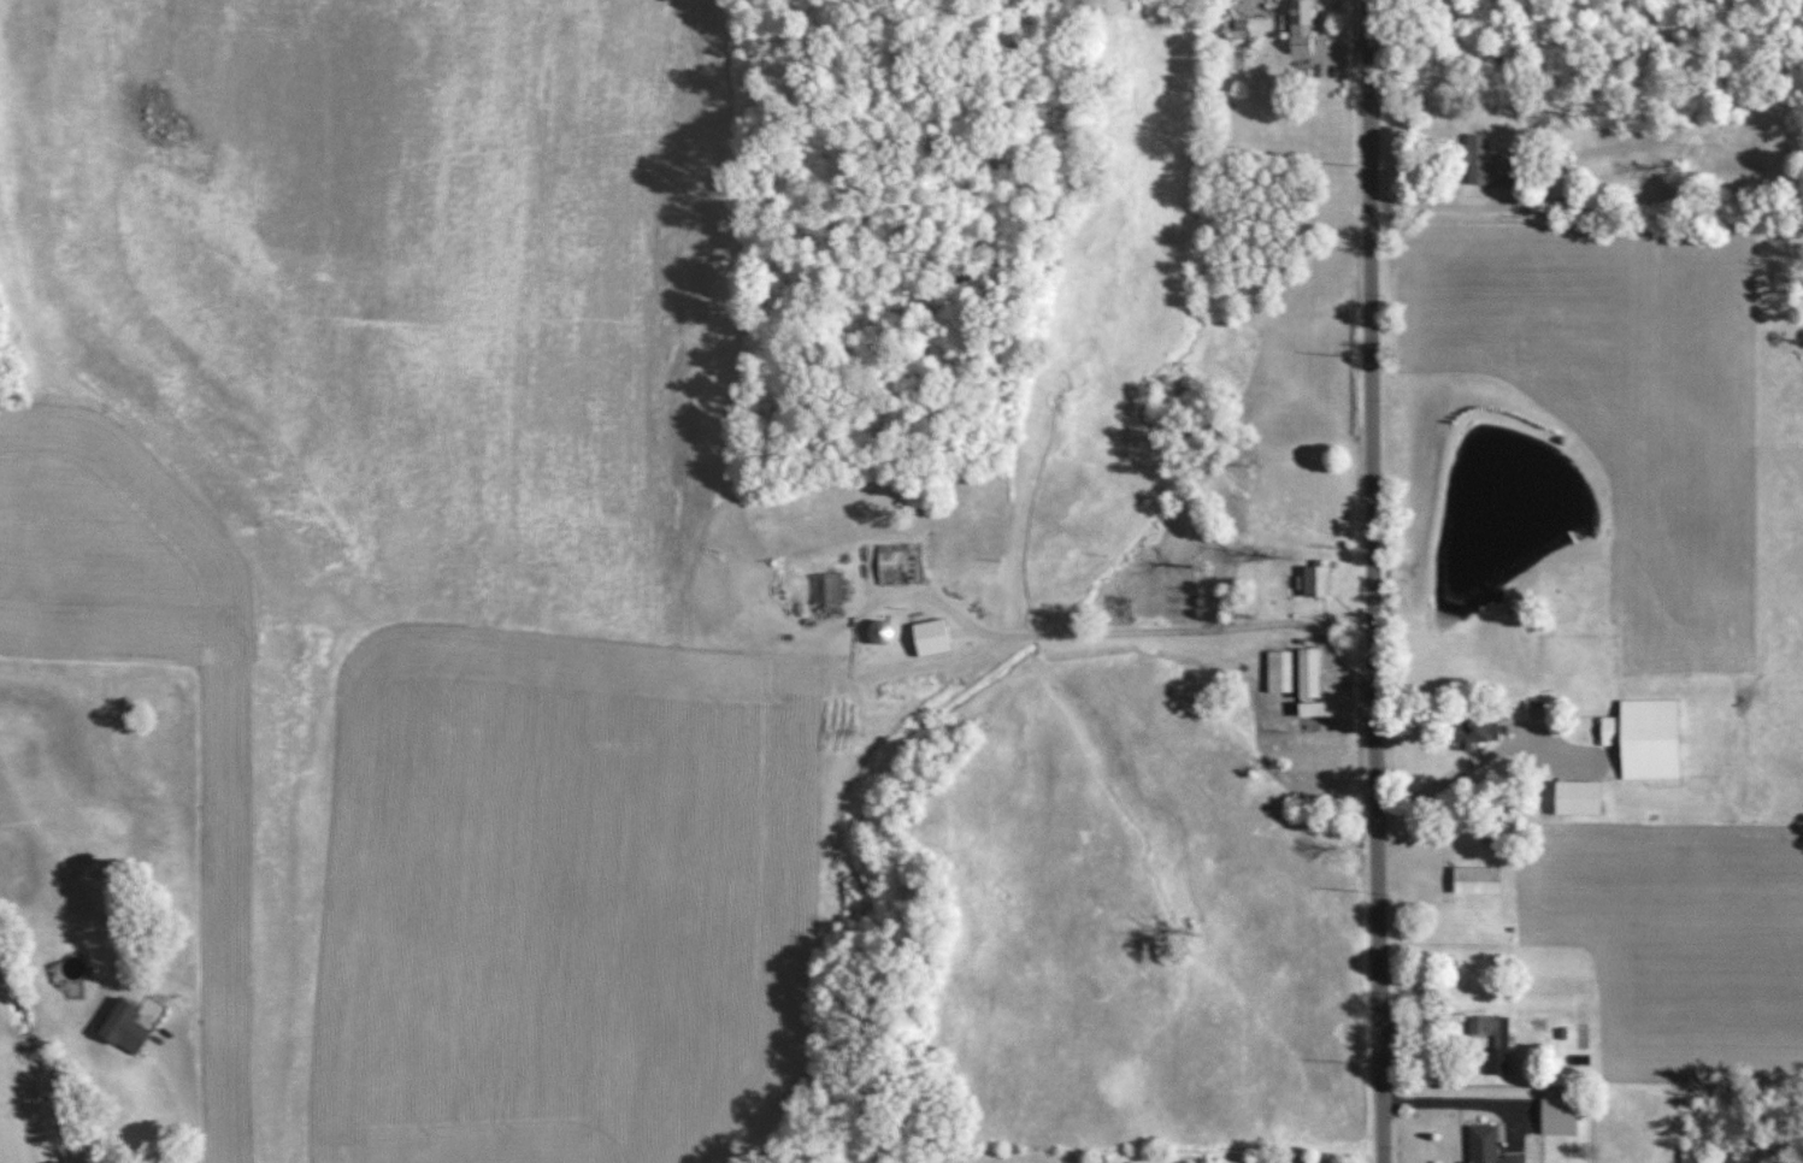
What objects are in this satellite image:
building: (1300, 25)
building: (1484, 164)
building: (1314, 579)
road: (1365, 581)
building: (824, 586)
building: (877, 631)
road: (1120, 631)
building: (929, 637)
building: (1292, 672)
building: (1313, 708)
building: (1534, 709)
building: (1474, 732)
building: (1644, 738)
road: (1471, 766)
building: (1575, 797)
building: (1474, 880)
building: (122, 1026)
building: (1499, 1043)
road: (183, 1094)
road: (1450, 1102)
building: (1557, 1116)
building: (1487, 1146)

